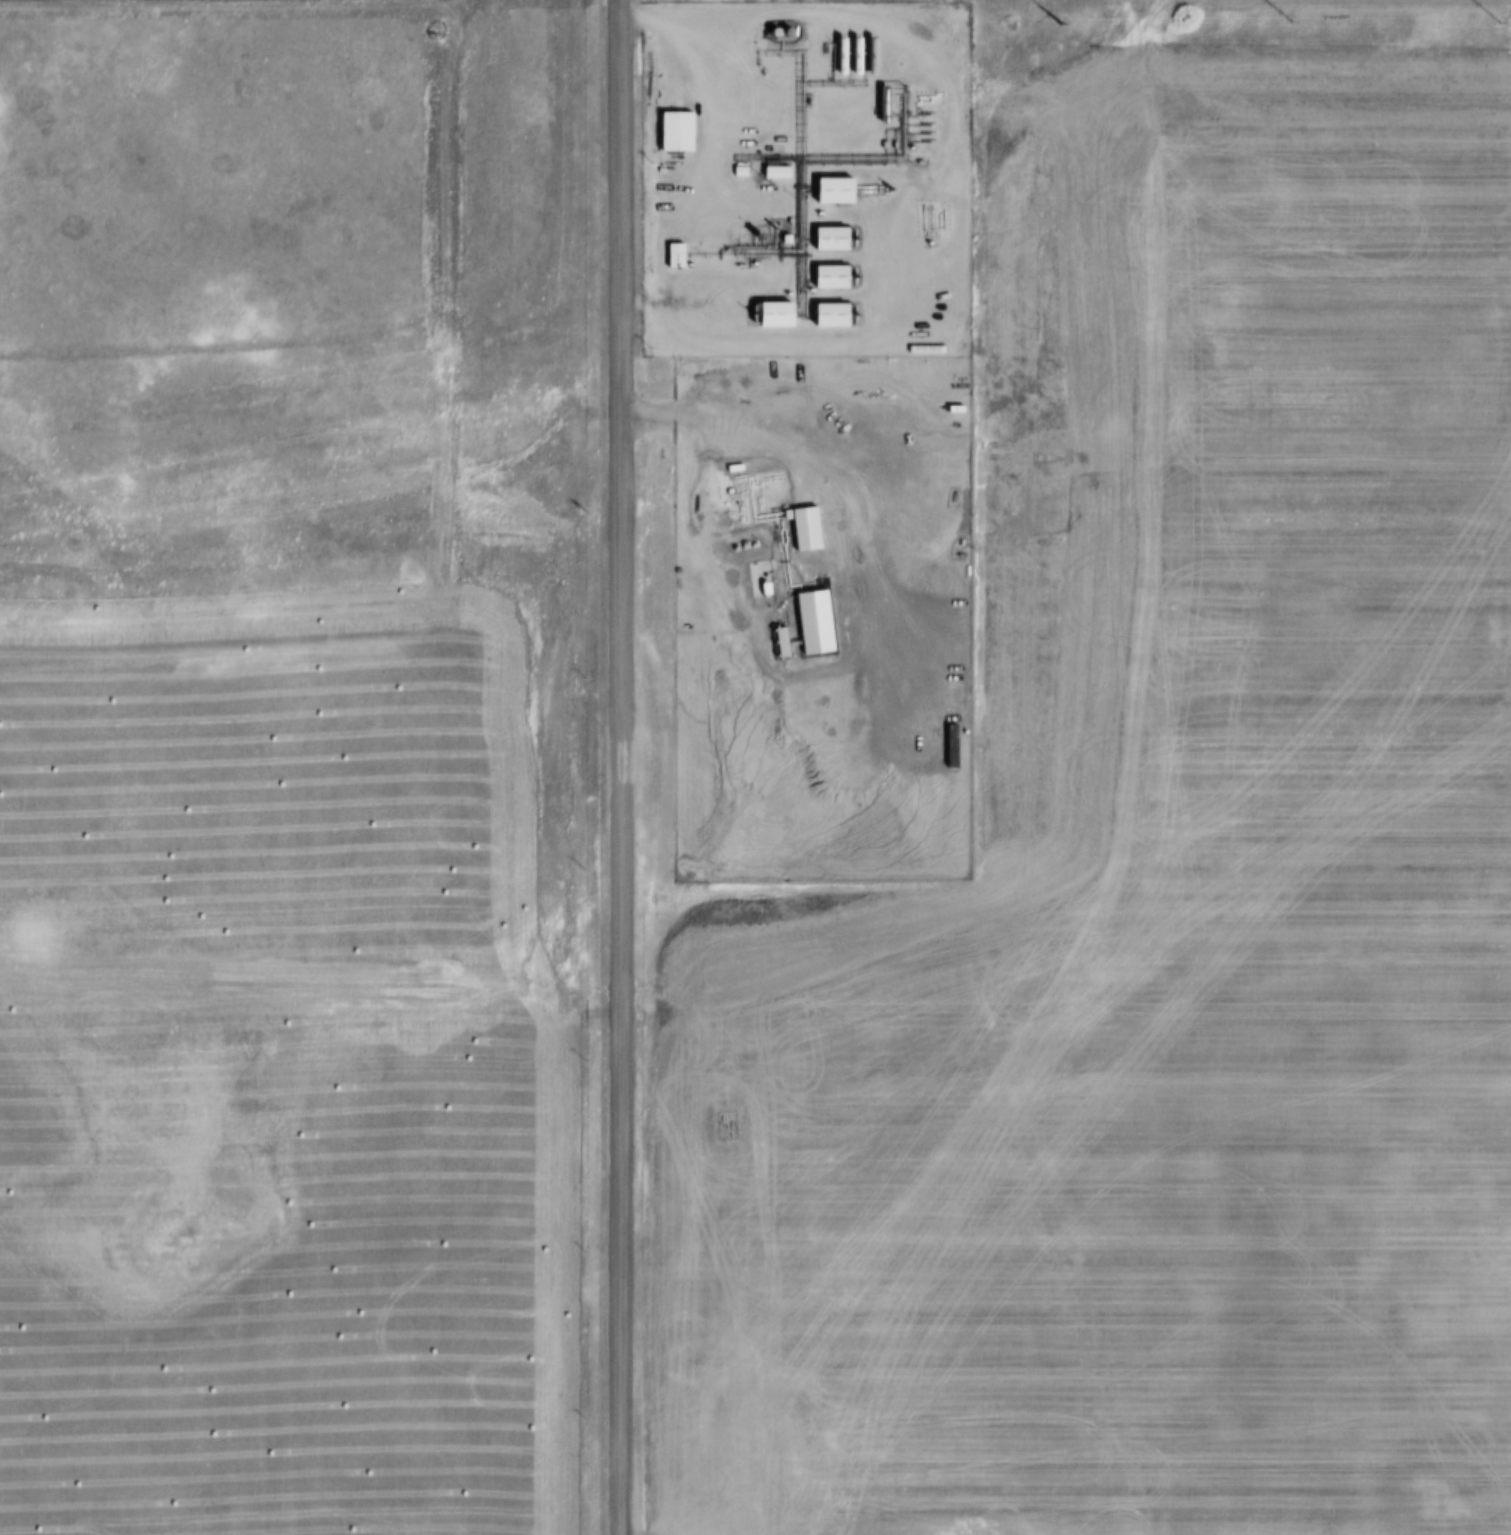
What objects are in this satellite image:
road: (1409, 1)
building: (703, 14)
building: (835, 53)
building: (866, 53)
building: (851, 54)
building: (878, 102)
building: (670, 129)
road: (706, 132)
building: (776, 139)
building: (888, 143)
building: (771, 169)
building: (736, 170)
building: (827, 187)
building: (878, 191)
building: (780, 236)
building: (826, 236)
building: (670, 254)
building: (827, 274)
building: (767, 309)
building: (827, 312)
building: (923, 348)
building: (951, 408)
building: (731, 467)
building: (727, 491)
building: (800, 526)
building: (747, 545)
building: (760, 587)
building: (810, 619)
building: (777, 641)
building: (947, 746)
road: (619, 767)

